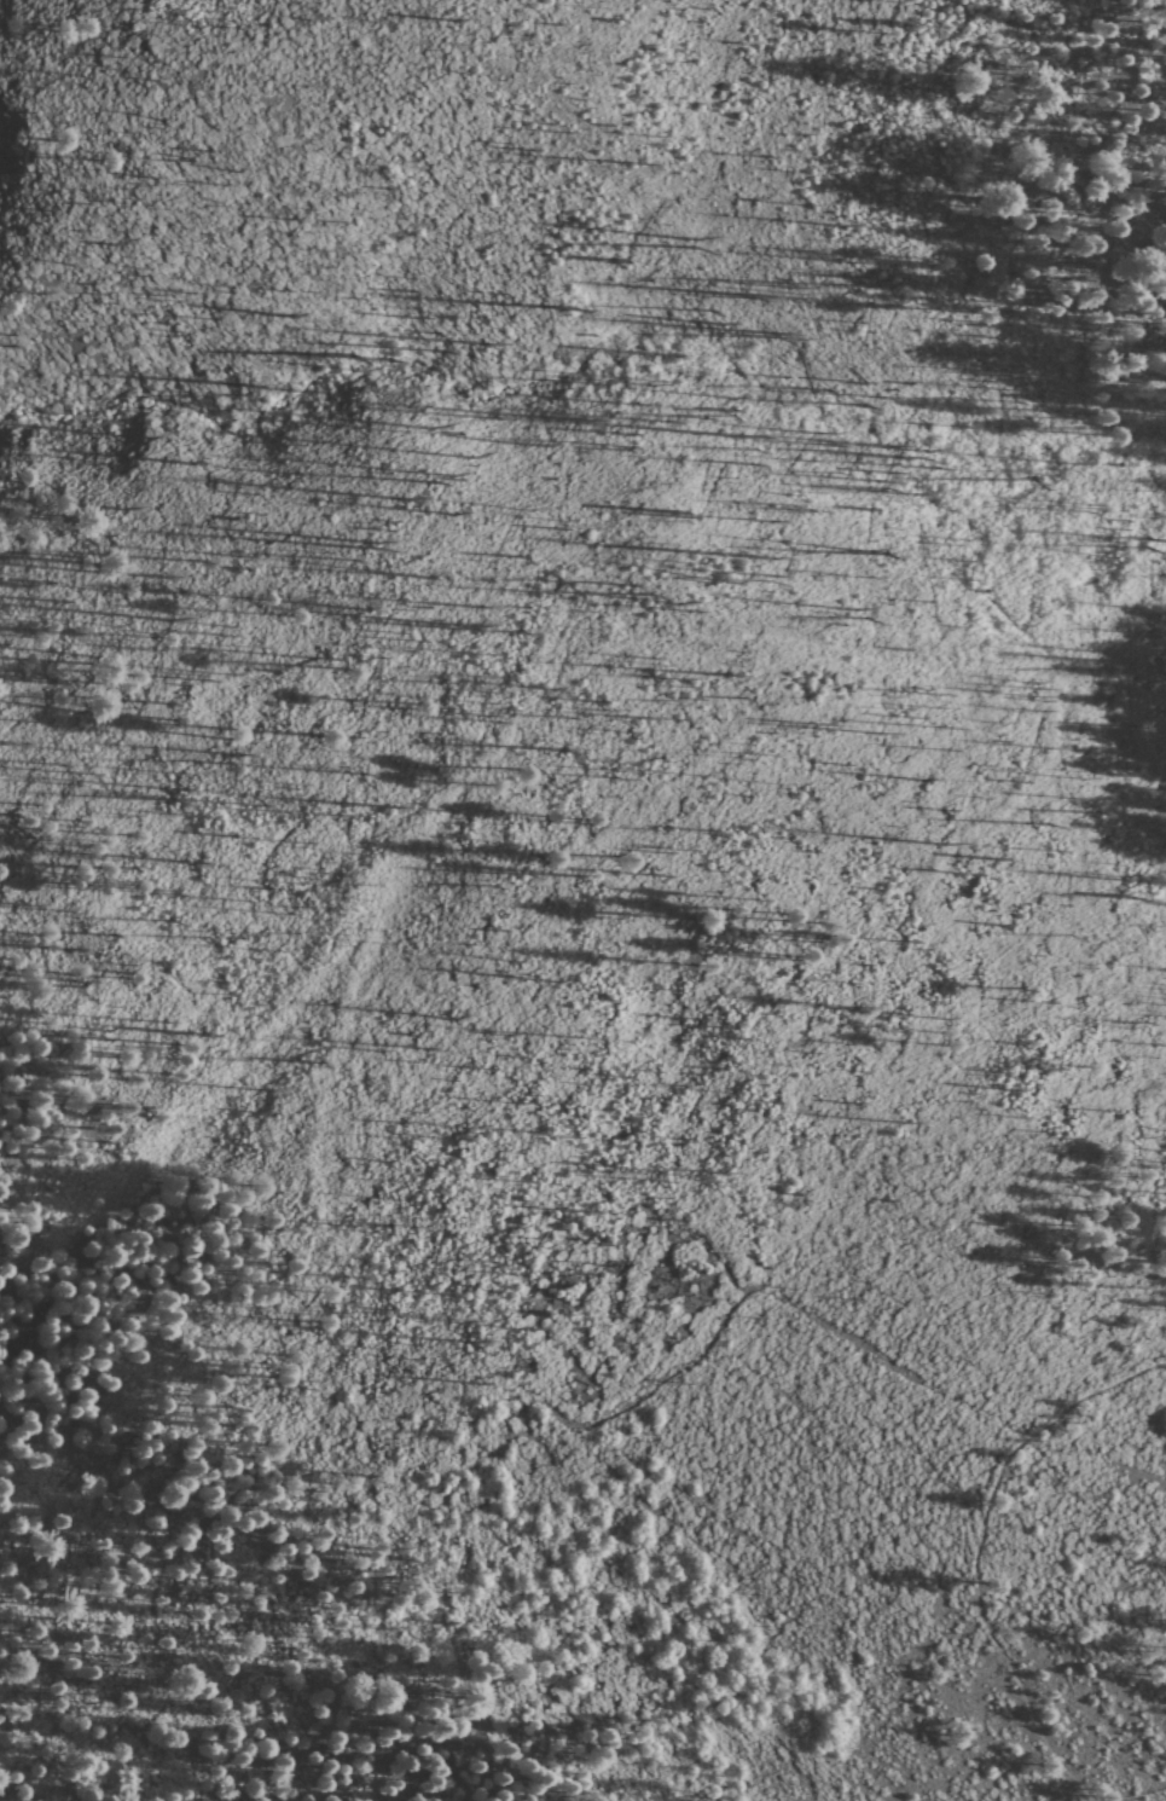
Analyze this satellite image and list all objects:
road: (979, 1548)

